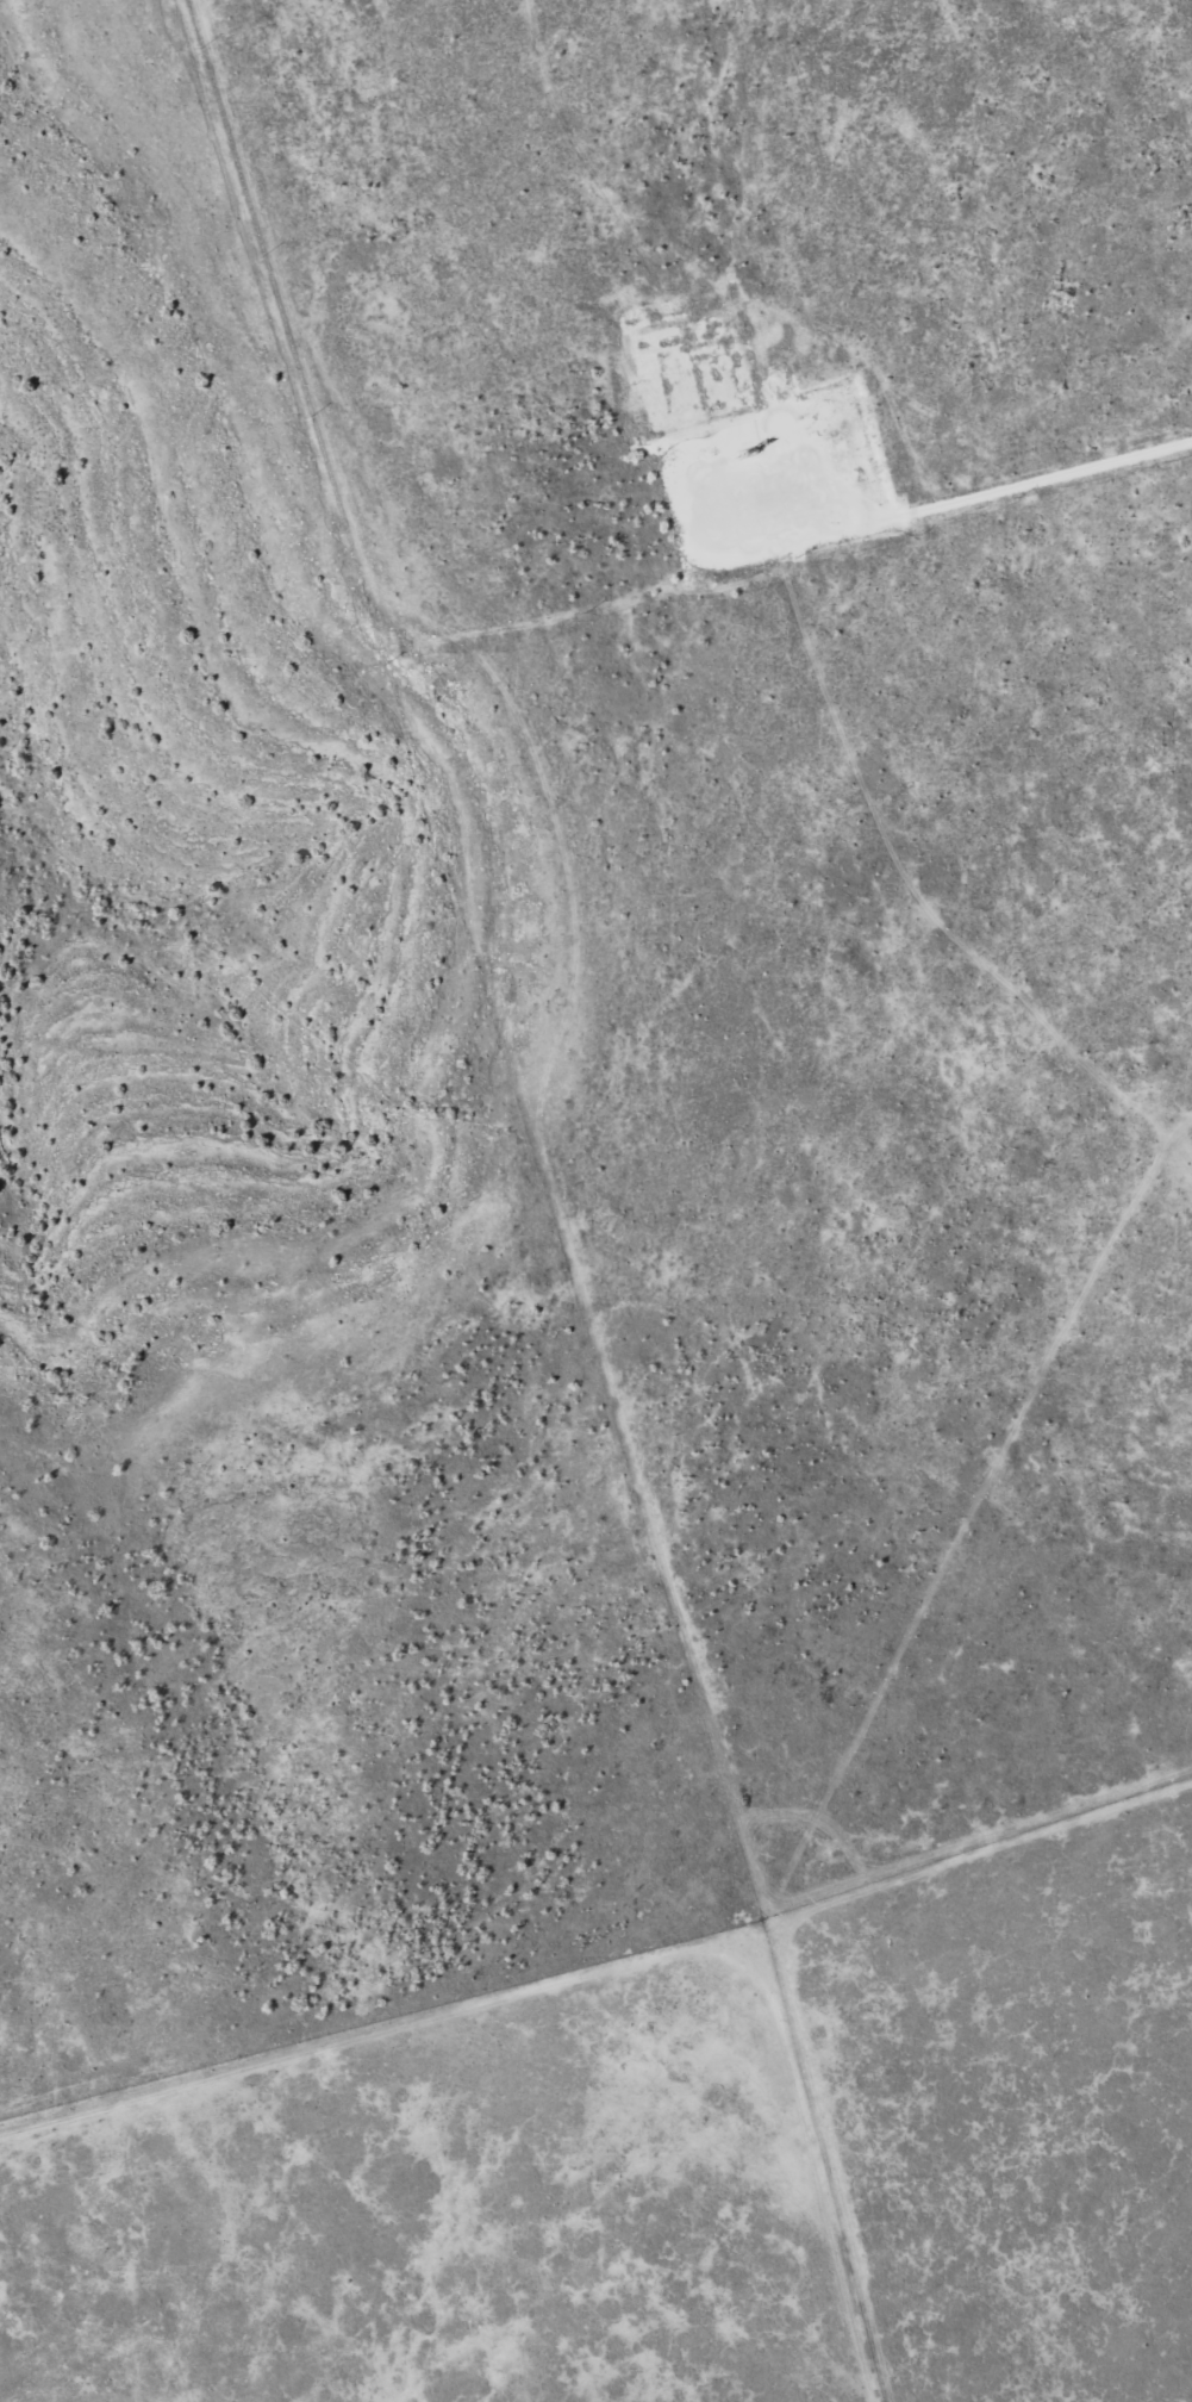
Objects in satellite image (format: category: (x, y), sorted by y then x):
road: (794, 562)
road: (594, 2014)

